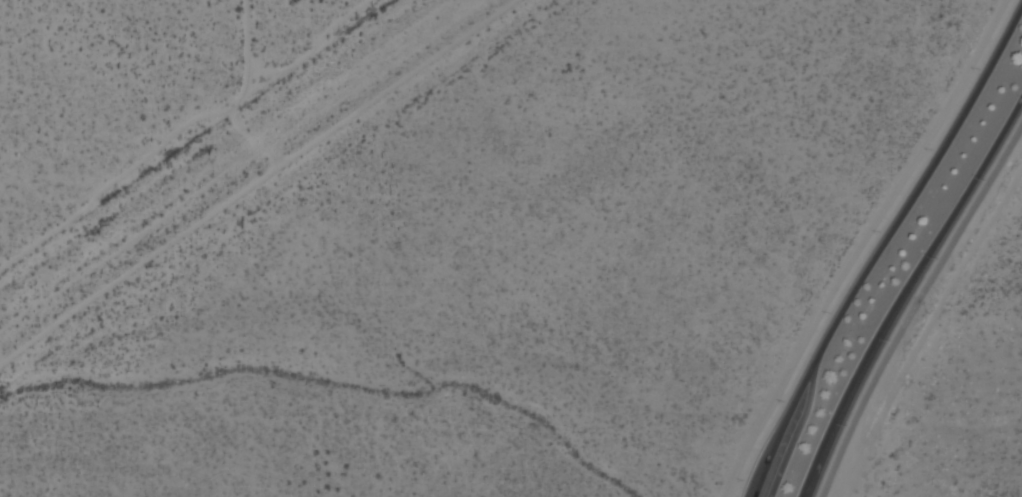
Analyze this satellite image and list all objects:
road: (880, 248)
road: (928, 255)
road: (913, 305)
road: (821, 455)

